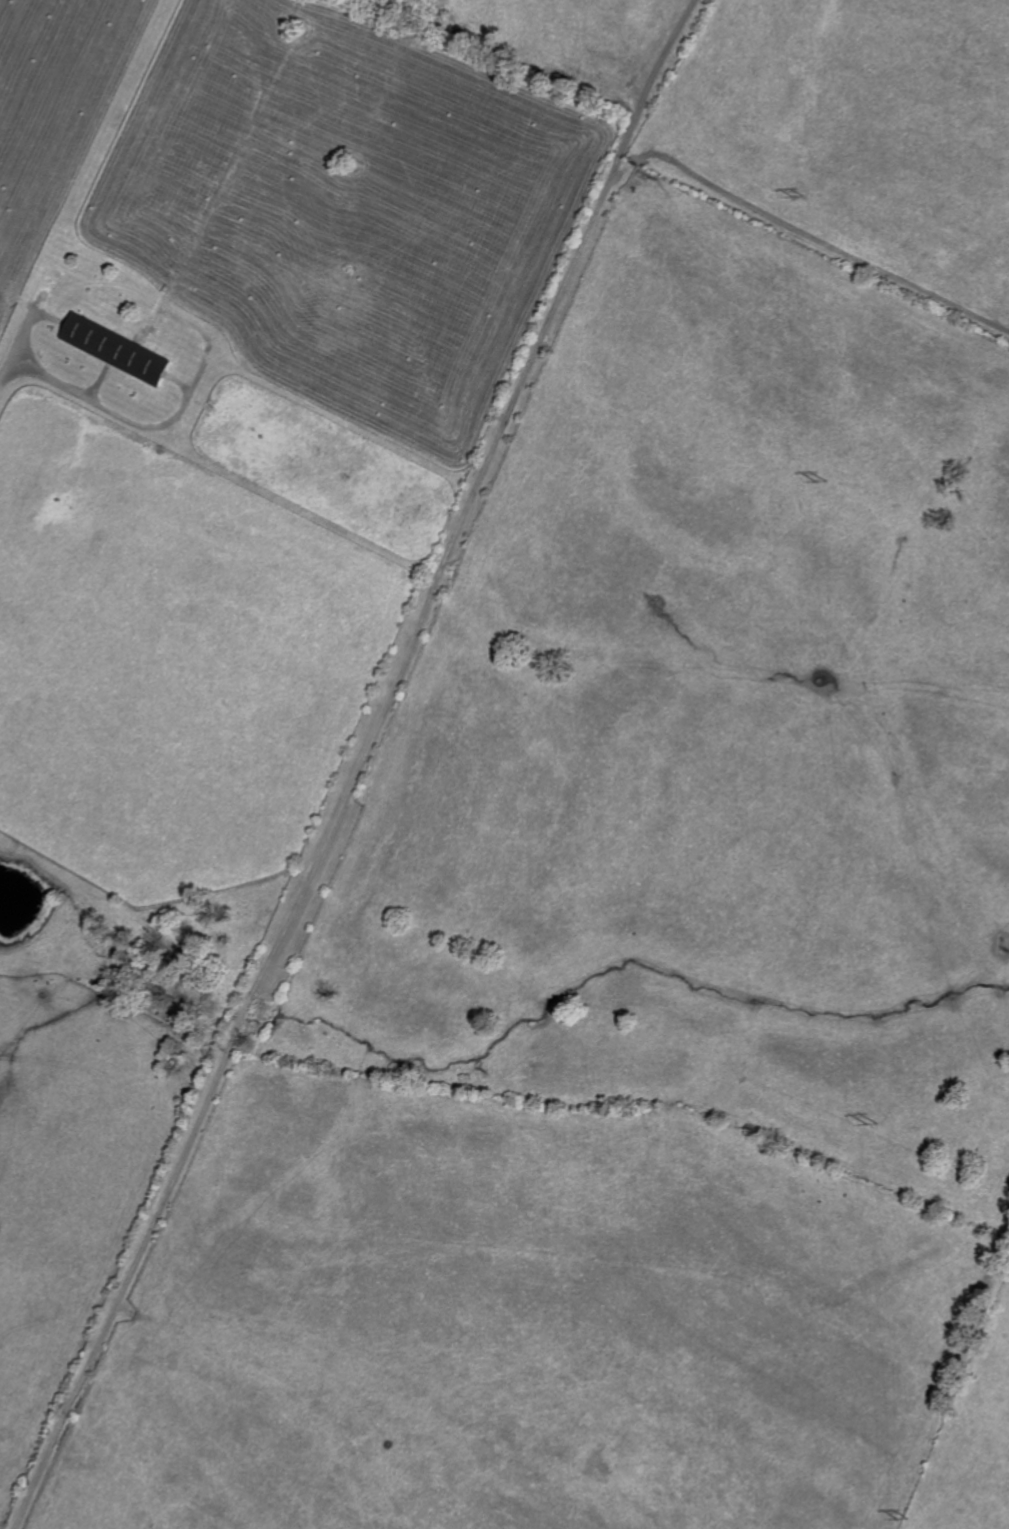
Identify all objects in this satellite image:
building: (116, 349)
road: (339, 762)

